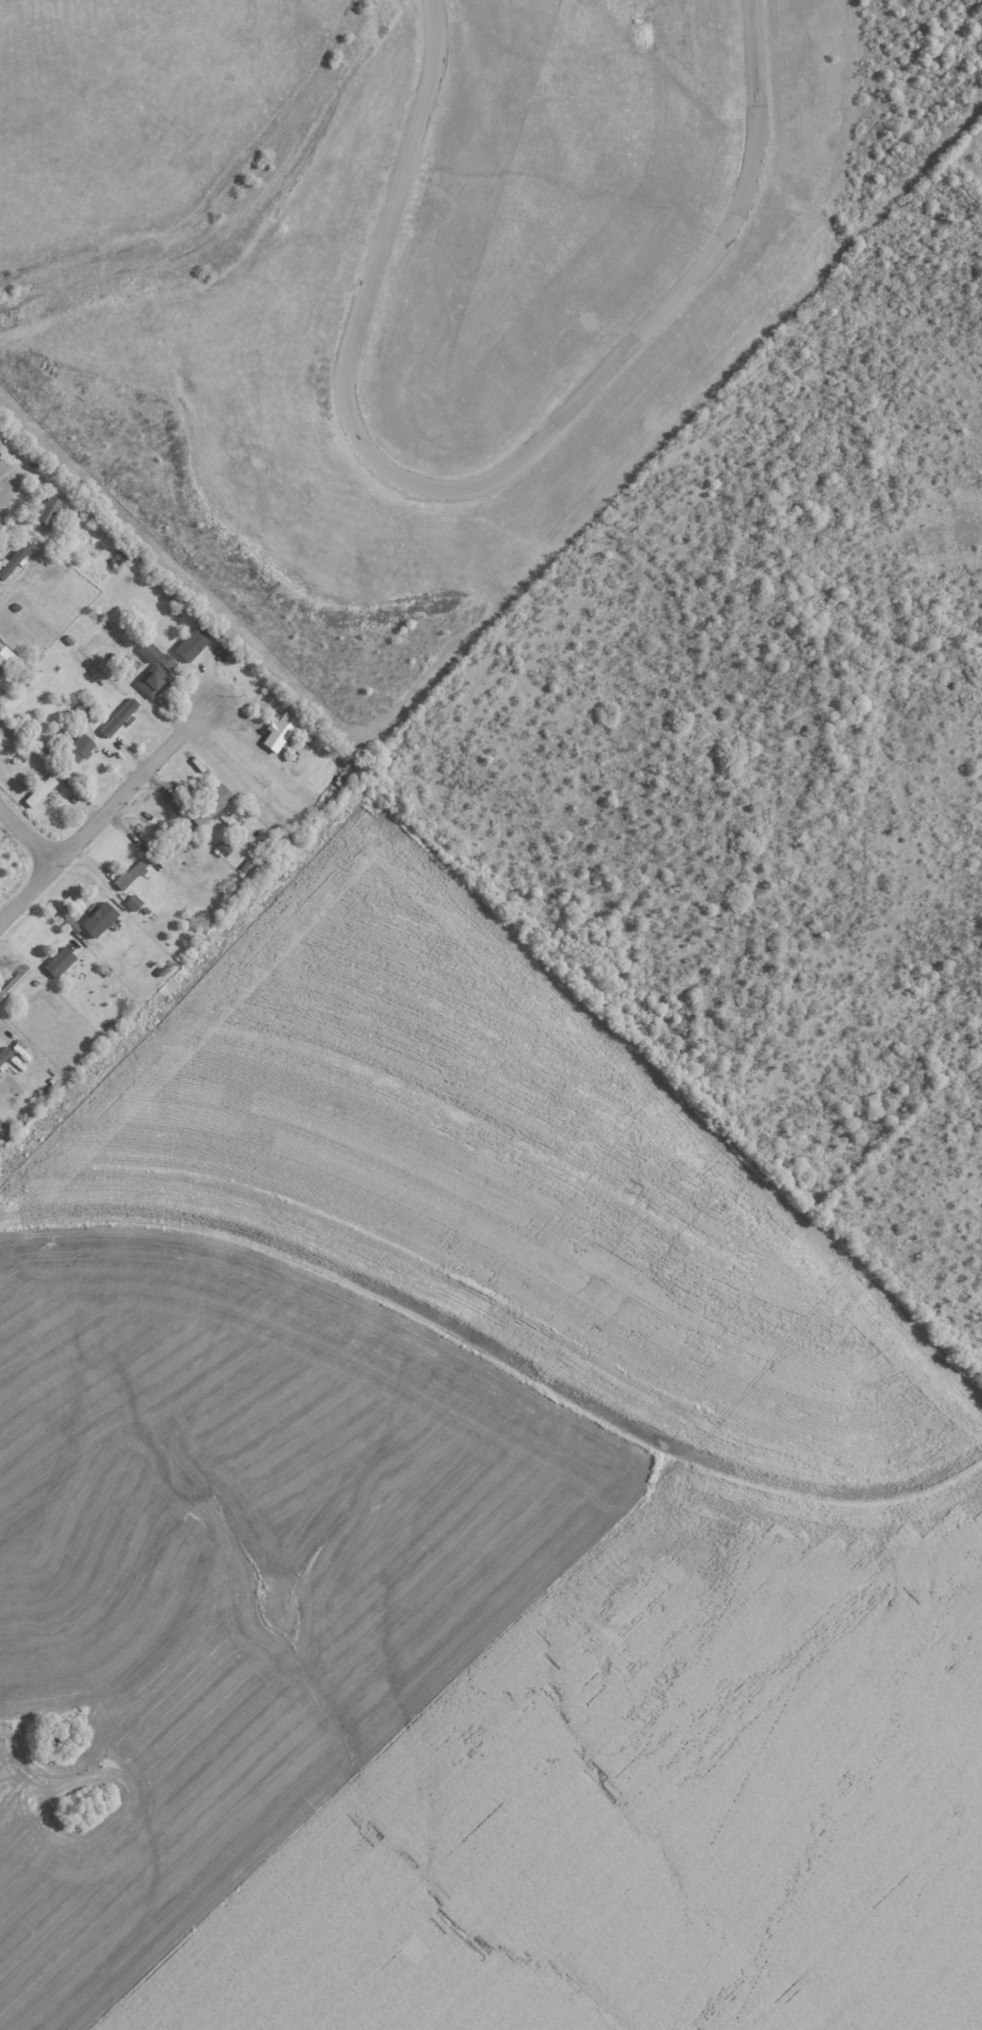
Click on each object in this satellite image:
raceway: (477, 485)
building: (45, 510)
building: (14, 558)
building: (191, 644)
building: (149, 651)
building: (6, 659)
building: (166, 662)
building: (127, 665)
building: (153, 680)
building: (83, 707)
building: (120, 718)
building: (279, 733)
building: (79, 748)
building: (342, 781)
building: (40, 791)
building: (209, 805)
road: (107, 813)
road: (26, 843)
building: (175, 849)
building: (223, 849)
building: (131, 873)
building: (0, 894)
building: (133, 902)
building: (98, 920)
building: (72, 924)
building: (59, 962)
building: (14, 982)
building: (5, 1055)

